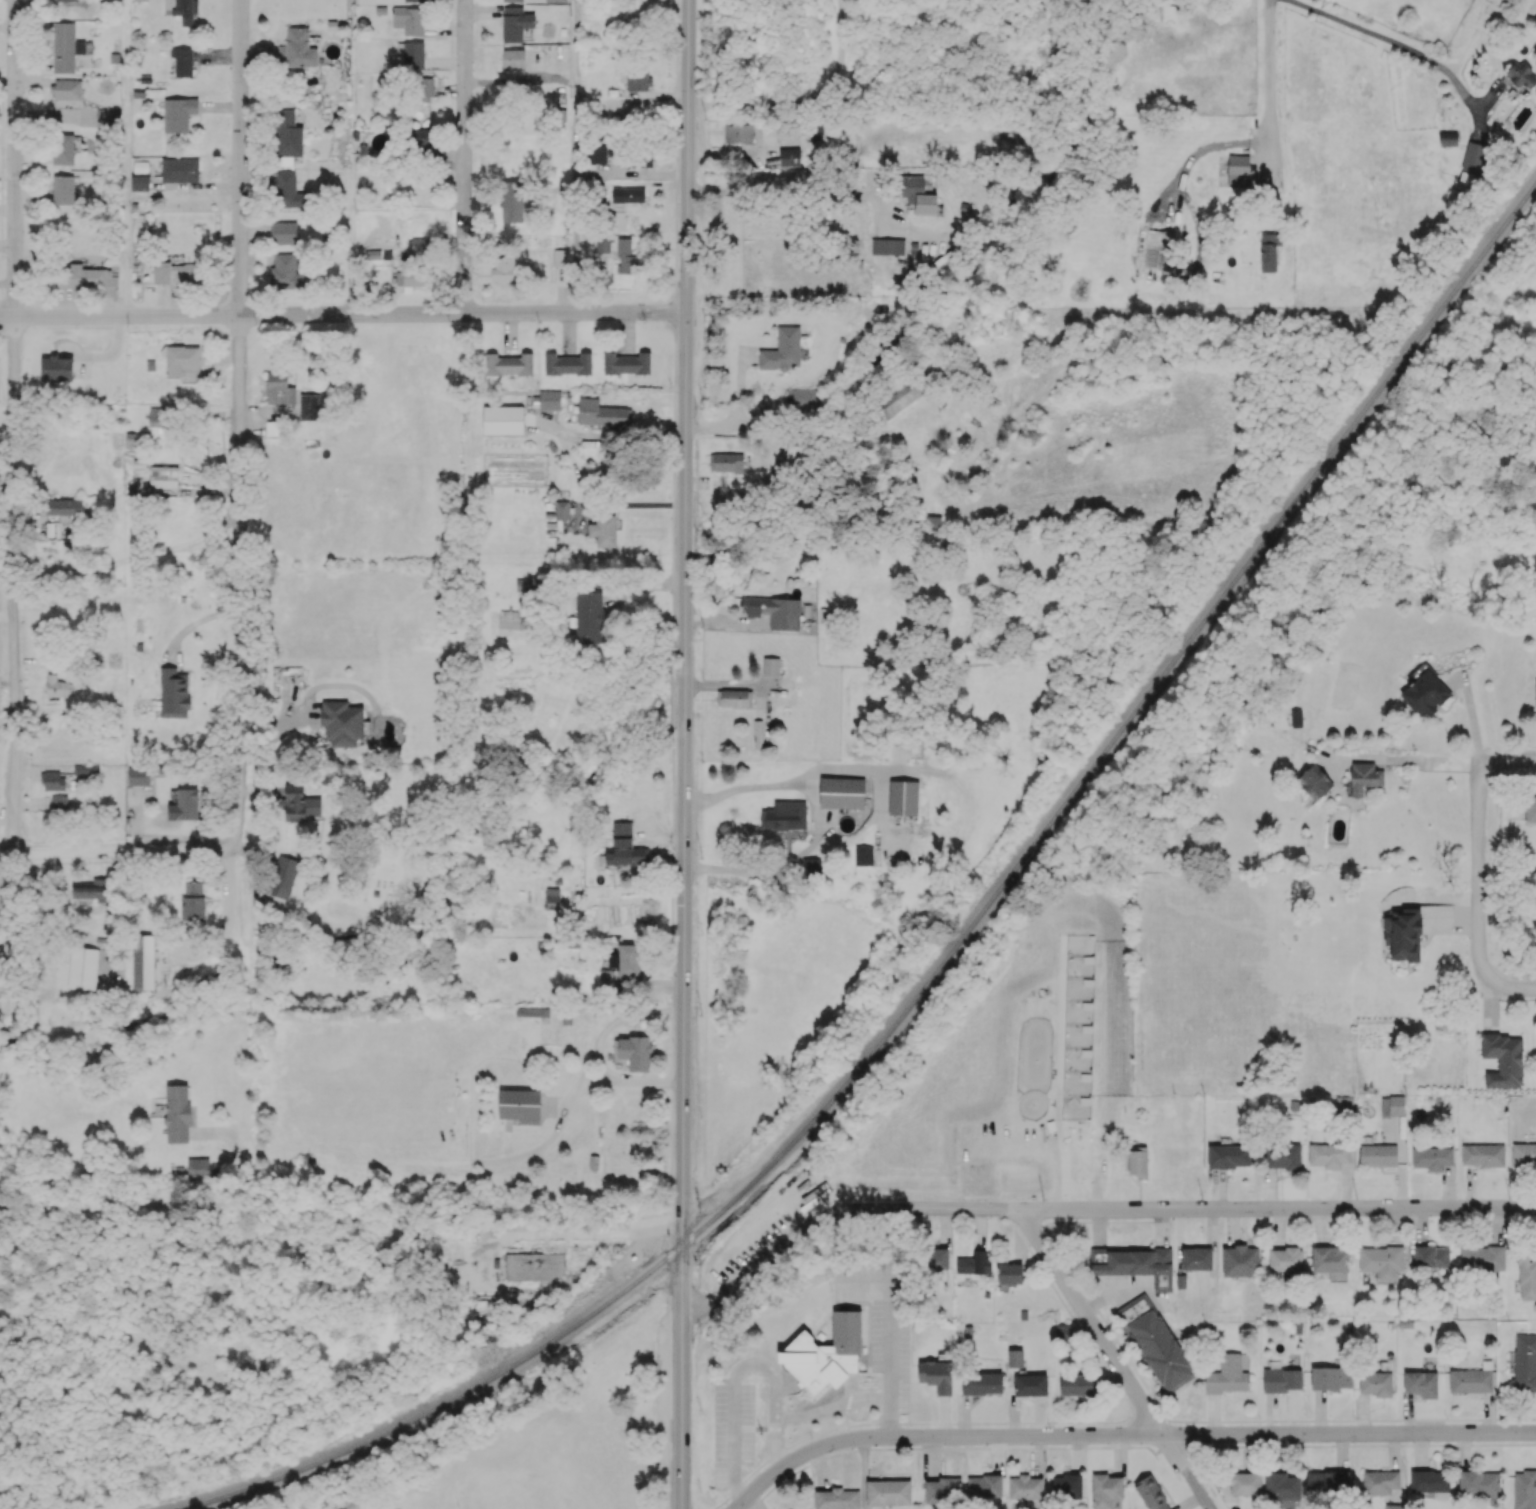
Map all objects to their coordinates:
building: (65, 0)
building: (140, 0)
building: (413, 0)
building: (513, 0)
building: (556, 0)
building: (186, 10)
building: (409, 20)
building: (515, 23)
road: (576, 28)
road: (1395, 42)
building: (65, 47)
building: (297, 48)
building: (411, 54)
building: (513, 58)
road: (1275, 58)
building: (183, 60)
building: (1521, 75)
road: (523, 79)
building: (638, 81)
building: (67, 89)
building: (425, 89)
building: (179, 113)
building: (108, 117)
building: (738, 133)
building: (287, 137)
building: (1448, 138)
building: (423, 139)
building: (63, 149)
road: (1201, 150)
building: (596, 153)
road: (463, 157)
building: (789, 157)
road: (127, 158)
building: (638, 158)
building: (1472, 166)
building: (180, 169)
building: (1238, 170)
building: (140, 182)
road: (576, 185)
building: (63, 190)
building: (287, 190)
road: (801, 190)
building: (632, 194)
building: (919, 194)
building: (512, 201)
building: (283, 232)
road: (351, 243)
building: (419, 244)
building: (603, 244)
building: (887, 246)
building: (1158, 249)
building: (1269, 251)
building: (625, 255)
building: (559, 257)
building: (503, 269)
building: (173, 272)
building: (286, 272)
building: (86, 278)
building: (411, 279)
road: (343, 315)
building: (783, 350)
building: (363, 355)
building: (183, 363)
building: (568, 363)
building: (626, 363)
building: (509, 364)
building: (280, 387)
building: (802, 396)
building: (899, 397)
building: (309, 406)
road: (738, 410)
building: (602, 413)
building: (157, 416)
building: (503, 419)
road: (236, 422)
road: (11, 427)
road: (810, 436)
building: (795, 452)
building: (726, 461)
building: (164, 476)
building: (65, 509)
building: (562, 509)
building: (932, 523)
building: (603, 530)
building: (775, 610)
building: (589, 617)
building: (771, 666)
building: (56, 686)
building: (1424, 691)
building: (174, 693)
building: (734, 697)
building: (1535, 707)
building: (1296, 717)
building: (342, 723)
building: (758, 734)
road: (684, 754)
road: (1441, 758)
building: (138, 775)
building: (67, 777)
building: (1364, 777)
road: (798, 779)
building: (1314, 781)
building: (842, 792)
building: (903, 797)
building: (187, 803)
building: (59, 804)
building: (299, 804)
building: (1530, 808)
building: (784, 816)
building: (625, 847)
road: (118, 853)
building: (863, 854)
road: (788, 864)
building: (812, 865)
road: (1480, 875)
building: (283, 876)
building: (93, 889)
building: (552, 894)
building: (192, 904)
road: (228, 917)
building: (1403, 934)
railway: (949, 953)
building: (626, 960)
building: (149, 962)
building: (82, 968)
road: (1517, 987)
building: (533, 1011)
building: (634, 1052)
building: (1503, 1059)
building: (1344, 1104)
building: (520, 1105)
building: (1392, 1105)
building: (177, 1113)
building: (1523, 1153)
building: (1328, 1154)
building: (1483, 1154)
building: (1378, 1155)
building: (1229, 1156)
building: (1283, 1156)
building: (1432, 1157)
building: (1138, 1162)
building: (200, 1168)
road: (113, 1205)
road: (1094, 1208)
road: (558, 1229)
building: (1432, 1256)
building: (937, 1258)
building: (1196, 1258)
building: (1482, 1258)
building: (1285, 1259)
building: (1240, 1261)
building: (1330, 1261)
building: (1381, 1261)
building: (973, 1263)
building: (1134, 1264)
building: (534, 1266)
building: (1009, 1273)
building: (1527, 1276)
building: (1062, 1331)
building: (1156, 1342)
road: (889, 1343)
building: (825, 1353)
building: (1015, 1358)
road: (1114, 1359)
building: (1525, 1362)
road: (736, 1369)
building: (936, 1375)
building: (1228, 1375)
building: (1331, 1378)
building: (1281, 1379)
building: (982, 1383)
building: (1421, 1383)
building: (1030, 1384)
building: (1076, 1384)
road: (830, 1404)
parking lot: (669, 1411)
road: (1124, 1434)
park: (556, 1442)
building: (1429, 1480)
building: (1328, 1481)
building: (1243, 1482)
building: (1380, 1482)
building: (1479, 1483)
park: (526, 1485)
building: (984, 1486)
building: (1067, 1486)
building: (1026, 1487)
building: (1283, 1488)
building: (1524, 1489)
building: (943, 1490)
building: (1105, 1490)
building: (888, 1492)
building: (1151, 1493)
building: (837, 1499)
building: (1394, 1506)

